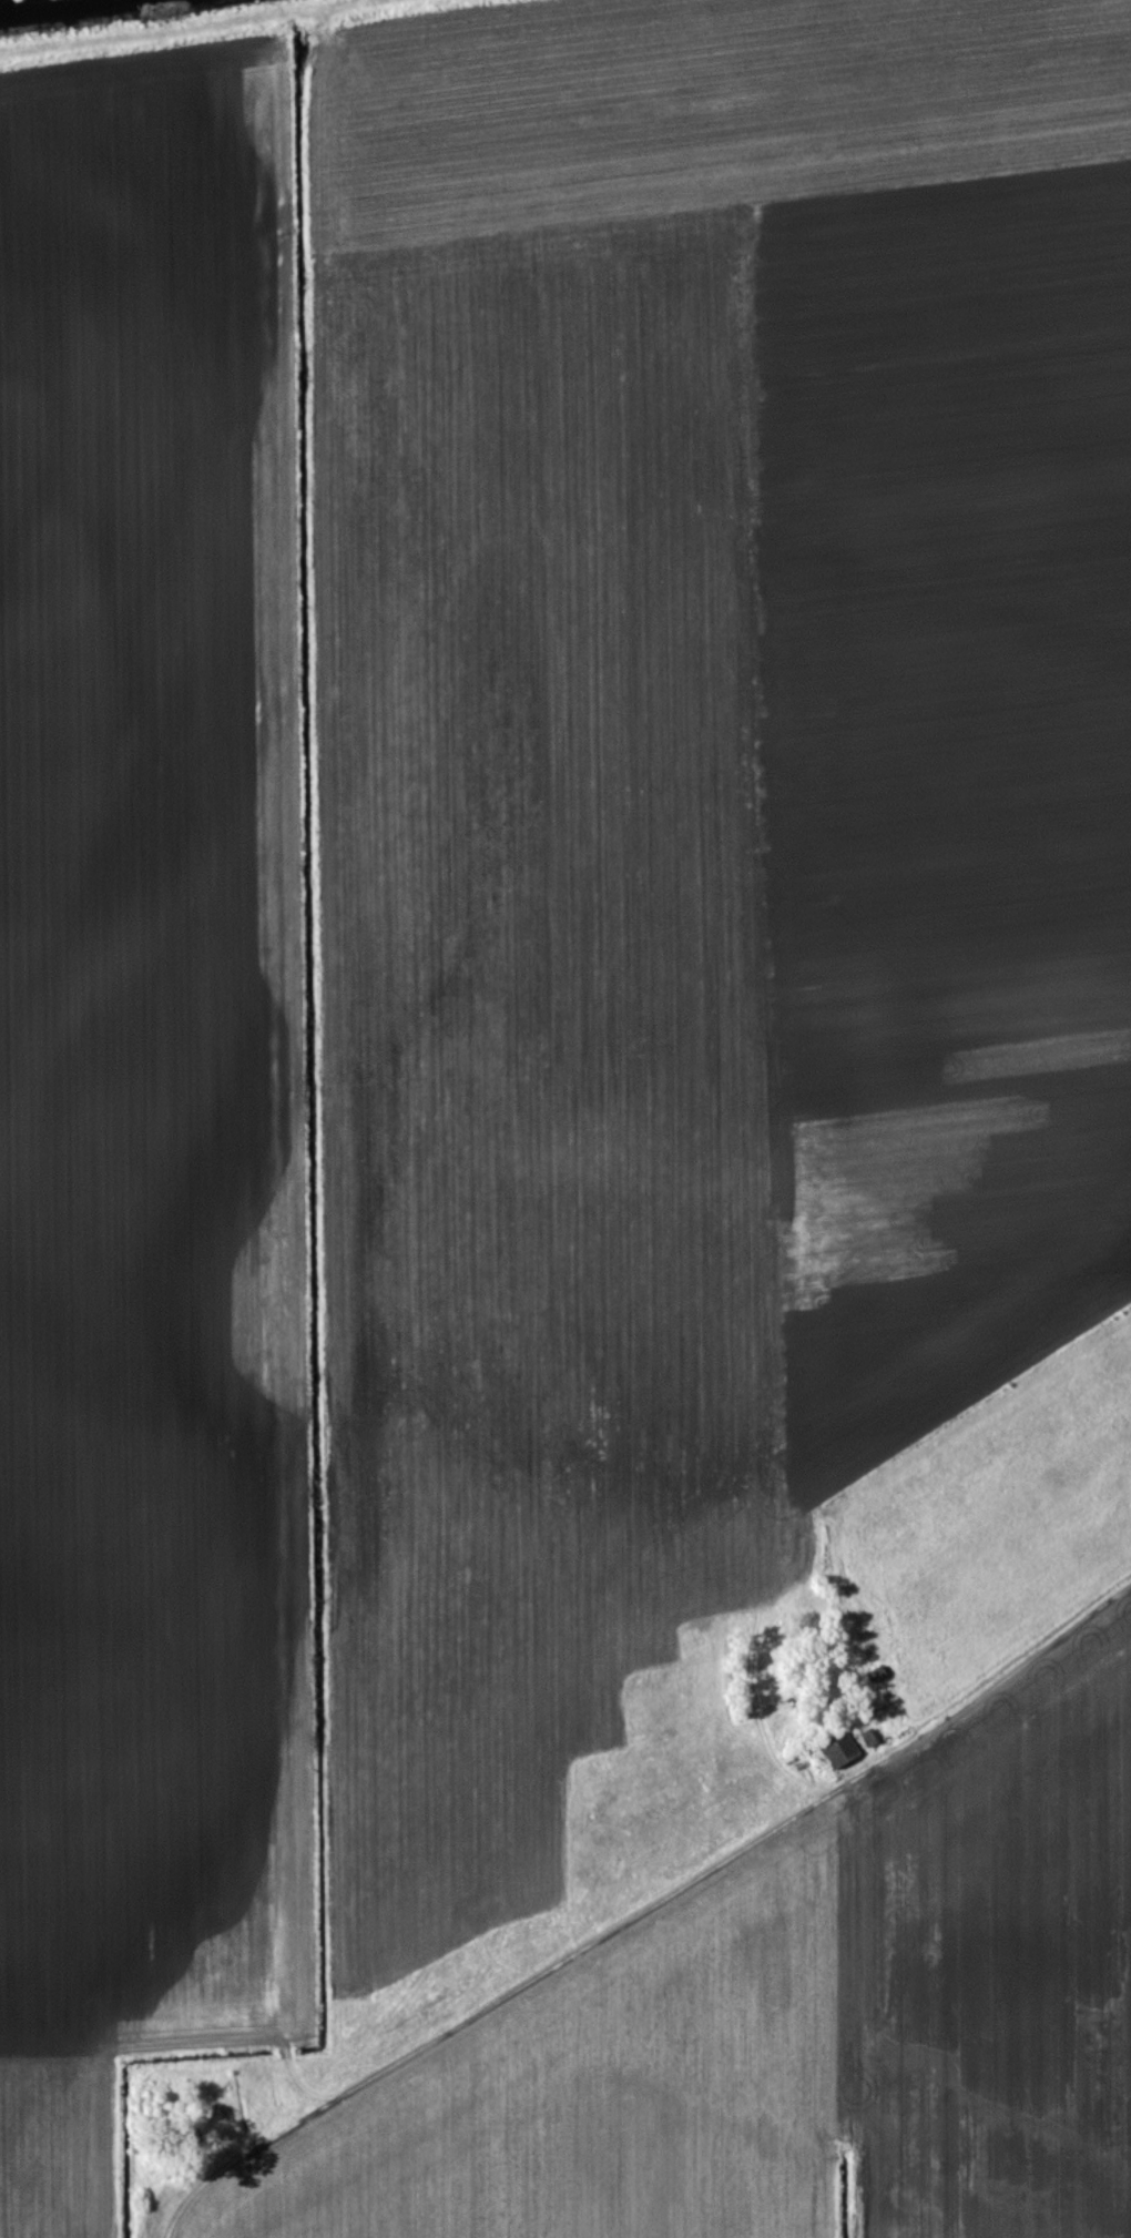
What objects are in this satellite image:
building: (843, 1751)
road: (638, 1896)

